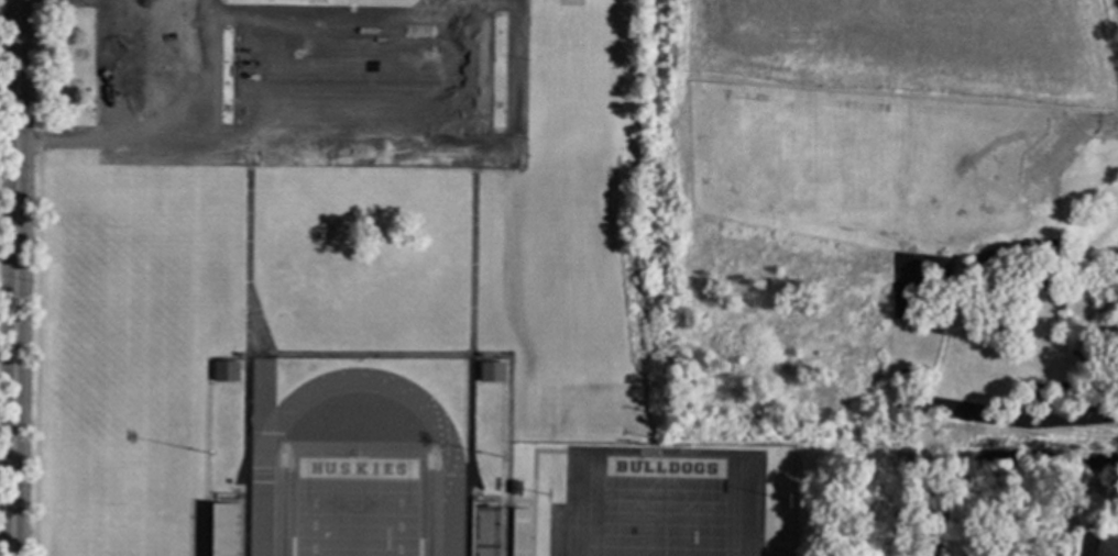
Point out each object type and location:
road: (163, 0)
road: (207, 0)
road: (515, 2)
road: (372, 3)
road: (220, 9)
road: (362, 20)
road: (118, 71)
road: (165, 71)
road: (205, 71)
road: (468, 75)
road: (514, 76)
road: (252, 81)
road: (297, 81)
road: (425, 81)
road: (340, 82)
road: (382, 82)
parking lot: (287, 89)
road: (1114, 115)
road: (65, 143)
road: (315, 145)
park: (897, 238)
road: (13, 278)
building: (237, 354)
building: (479, 356)
park: (125, 367)
building: (223, 370)
building: (491, 372)
road: (913, 488)
park: (661, 505)
park: (355, 507)
park: (121, 542)
building: (1106, 547)

